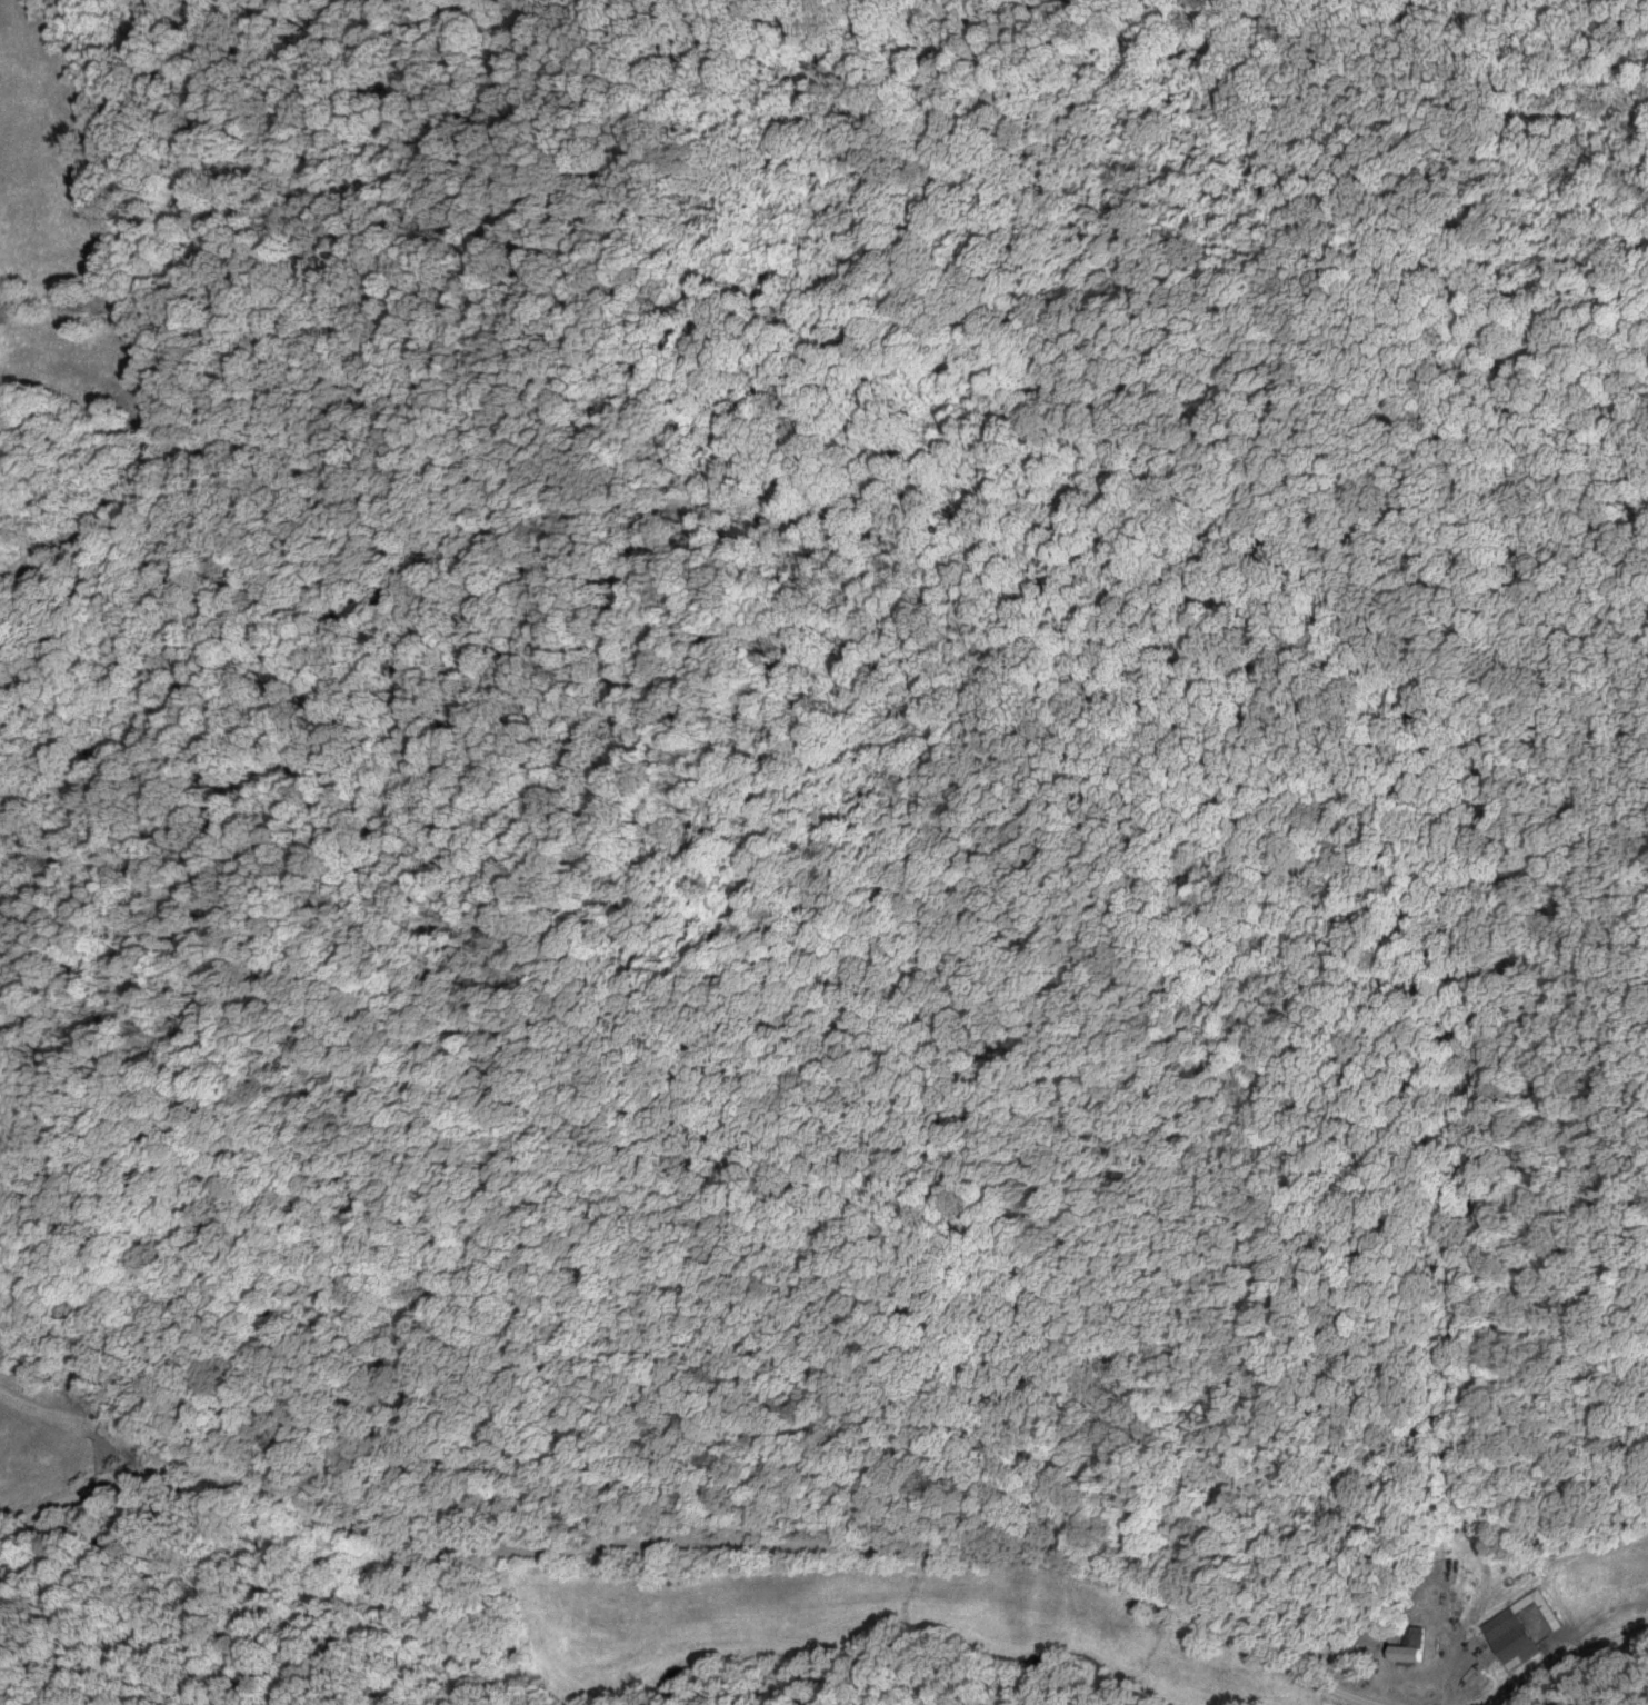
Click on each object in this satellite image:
road: (831, 1470)
building: (1520, 1629)
building: (1411, 1653)

